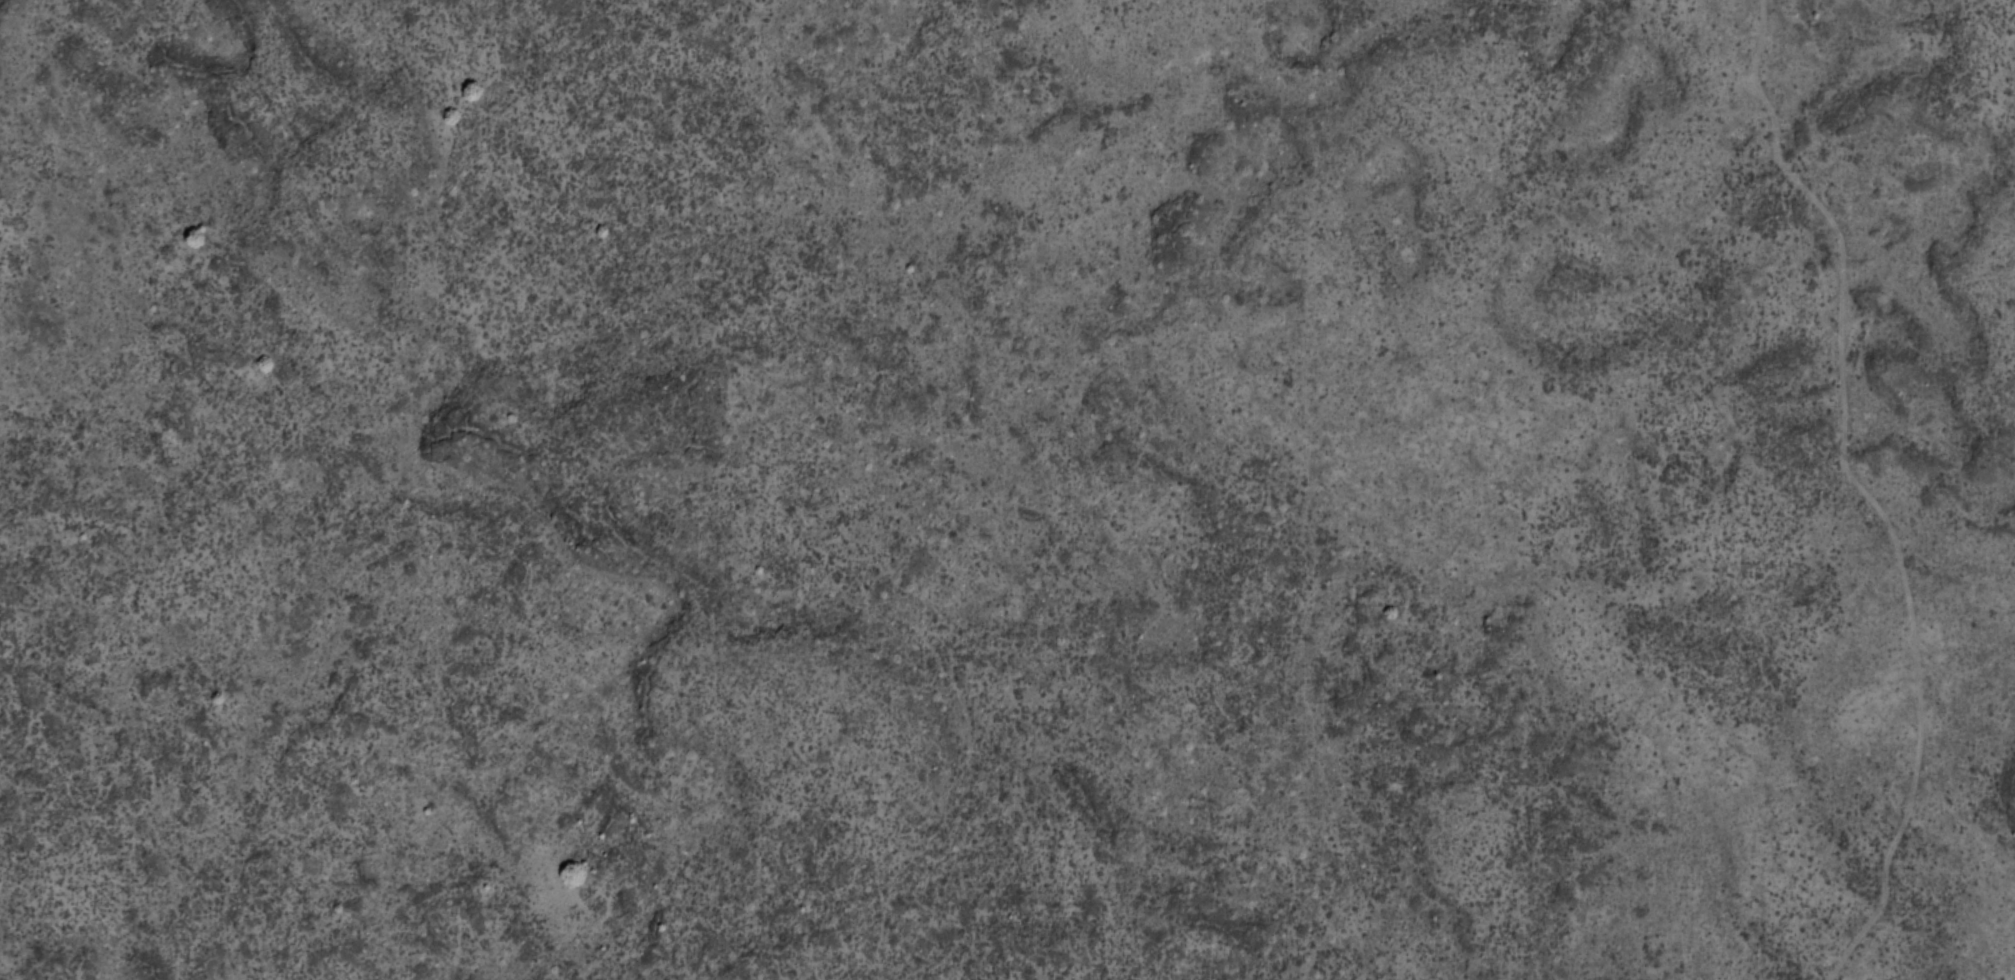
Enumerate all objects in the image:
road: (1863, 490)

